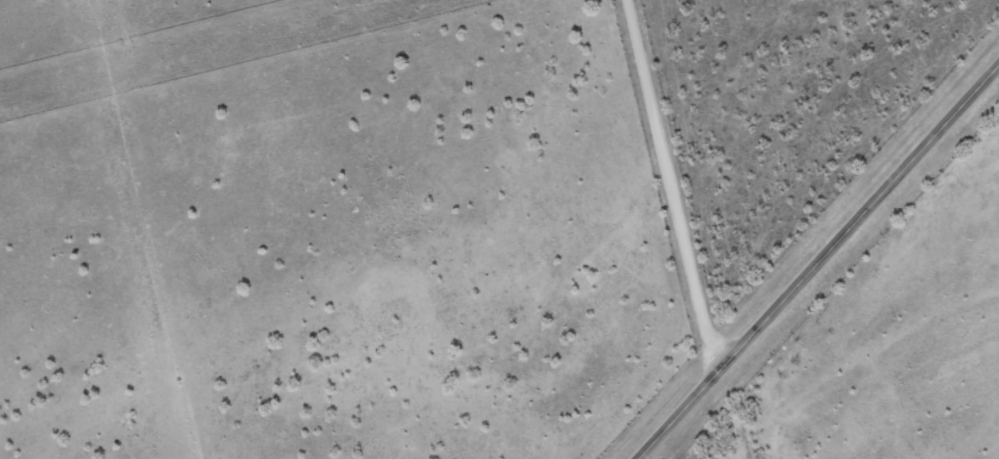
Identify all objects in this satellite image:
road: (670, 190)
road: (820, 264)

